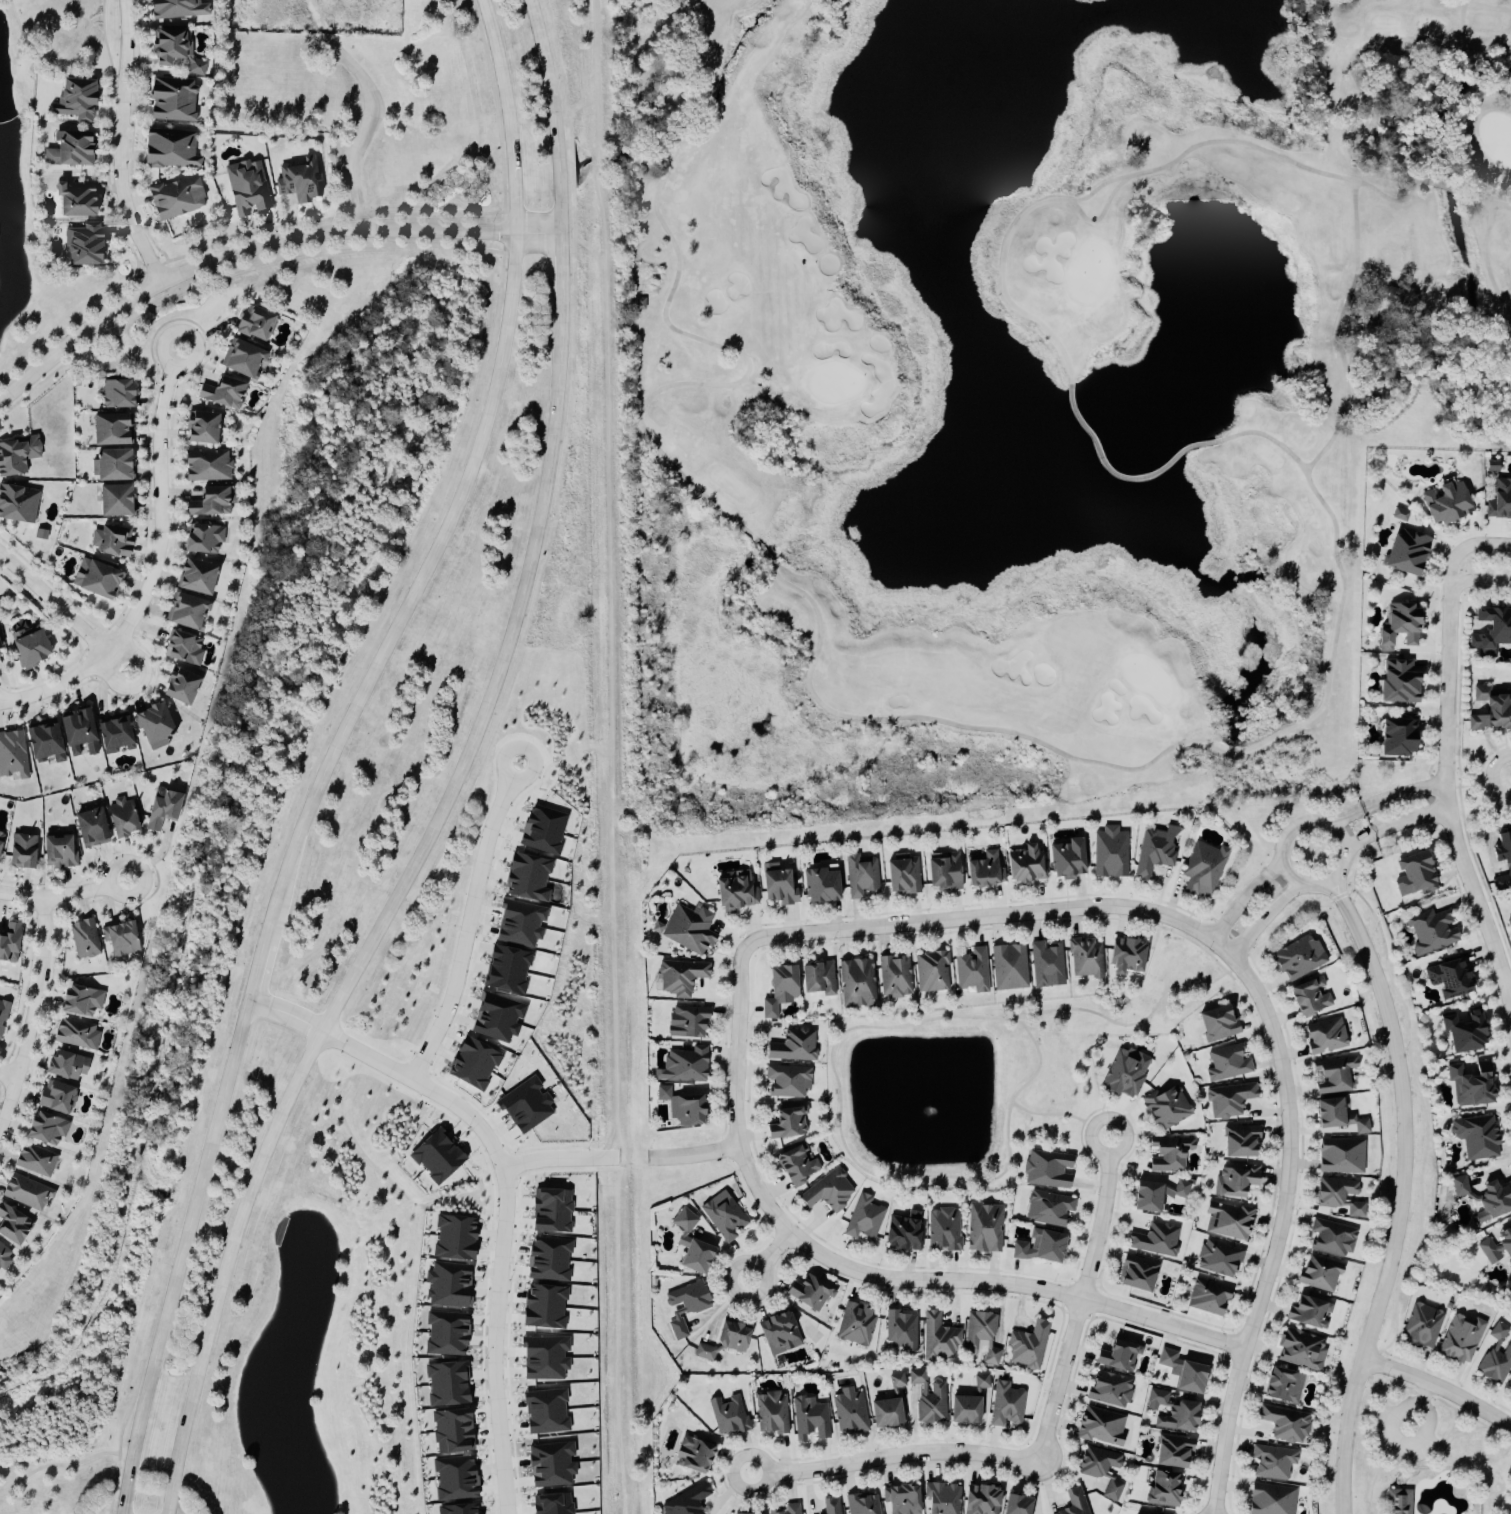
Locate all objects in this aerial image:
building: (181, 9)
building: (180, 52)
road: (46, 64)
building: (81, 99)
building: (176, 100)
road: (494, 103)
road: (372, 108)
road: (554, 116)
road: (122, 145)
building: (175, 148)
building: (74, 149)
building: (302, 181)
building: (249, 187)
building: (180, 197)
building: (83, 199)
road: (326, 219)
building: (89, 244)
road: (257, 247)
road: (561, 270)
building: (259, 323)
building: (246, 358)
park: (1031, 392)
building: (227, 393)
building: (123, 394)
building: (206, 428)
building: (117, 430)
building: (20, 455)
building: (119, 465)
building: (210, 466)
building: (1490, 466)
building: (98, 468)
building: (1499, 500)
building: (122, 501)
building: (215, 502)
building: (1443, 502)
building: (19, 504)
building: (1399, 515)
building: (43, 535)
building: (207, 539)
building: (115, 542)
road: (1462, 550)
building: (1404, 553)
road: (158, 569)
building: (203, 577)
building: (100, 579)
road: (1477, 581)
building: (190, 612)
road: (65, 613)
building: (1398, 627)
building: (1491, 629)
building: (0, 644)
building: (34, 646)
building: (186, 648)
building: (1396, 681)
building: (185, 685)
building: (1490, 710)
building: (158, 726)
building: (83, 732)
building: (1397, 735)
building: (49, 742)
road: (334, 751)
building: (14, 755)
road: (610, 757)
road: (1386, 800)
road: (1449, 803)
building: (168, 808)
building: (127, 818)
road: (1297, 824)
road: (1396, 825)
building: (97, 828)
building: (2, 846)
building: (1502, 847)
road: (281, 850)
building: (1155, 850)
building: (26, 852)
building: (62, 852)
building: (1109, 852)
building: (1065, 857)
building: (1023, 864)
building: (1202, 868)
building: (982, 869)
building: (941, 871)
building: (902, 874)
building: (860, 875)
building: (1413, 875)
building: (818, 883)
building: (777, 884)
road: (65, 897)
road: (1247, 900)
road: (387, 915)
road: (983, 918)
road: (1266, 919)
road: (468, 924)
building: (686, 928)
building: (1431, 930)
building: (86, 939)
building: (124, 939)
building: (12, 944)
building: (1124, 954)
building: (1085, 957)
building: (1297, 957)
building: (1045, 964)
building: (1008, 966)
building: (930, 970)
building: (894, 975)
building: (678, 976)
building: (1447, 976)
building: (816, 977)
building: (856, 982)
building: (777, 988)
road: (1510, 988)
building: (1308, 995)
building: (85, 1001)
building: (3, 1017)
road: (34, 1018)
building: (686, 1020)
building: (1216, 1022)
building: (1462, 1030)
building: (78, 1034)
building: (1324, 1036)
building: (793, 1045)
building: (1227, 1063)
building: (477, 1065)
building: (682, 1065)
building: (70, 1066)
road: (386, 1070)
building: (1124, 1072)
building: (1333, 1074)
road: (9, 1075)
building: (787, 1080)
building: (1469, 1082)
building: (59, 1098)
building: (1228, 1100)
building: (525, 1104)
building: (680, 1105)
building: (1166, 1107)
building: (1336, 1115)
building: (786, 1122)
building: (51, 1130)
building: (1475, 1136)
building: (1239, 1141)
road: (1092, 1144)
building: (1168, 1153)
road: (695, 1154)
building: (435, 1155)
building: (1340, 1155)
road: (558, 1159)
building: (38, 1161)
building: (795, 1164)
building: (1046, 1169)
building: (1235, 1180)
building: (828, 1190)
road: (1404, 1193)
building: (1155, 1194)
building: (1337, 1195)
building: (1048, 1208)
building: (549, 1209)
building: (722, 1215)
building: (864, 1217)
building: (1228, 1220)
road: (1285, 1220)
building: (16, 1225)
building: (984, 1227)
building: (944, 1229)
building: (903, 1232)
building: (452, 1237)
building: (1331, 1237)
building: (1155, 1239)
building: (1505, 1242)
building: (690, 1244)
building: (1039, 1246)
building: (1488, 1250)
building: (5, 1257)
building: (1218, 1258)
building: (547, 1259)
road: (771, 1259)
building: (1317, 1272)
building: (1136, 1273)
road: (865, 1276)
building: (807, 1292)
building: (1208, 1296)
building: (542, 1305)
building: (683, 1306)
road: (1080, 1310)
building: (1308, 1311)
building: (856, 1324)
building: (1421, 1325)
building: (901, 1330)
building: (777, 1332)
building: (445, 1333)
building: (982, 1335)
building: (939, 1338)
building: (1459, 1338)
road: (494, 1340)
building: (723, 1340)
building: (1027, 1345)
building: (1299, 1349)
building: (1116, 1355)
building: (543, 1357)
building: (1494, 1358)
building: (1181, 1371)
building: (897, 1380)
building: (446, 1383)
building: (1510, 1384)
building: (1281, 1385)
road: (1439, 1386)
building: (1108, 1388)
building: (928, 1397)
building: (967, 1402)
building: (1006, 1404)
building: (547, 1410)
building: (849, 1411)
building: (1172, 1411)
building: (771, 1412)
building: (883, 1412)
building: (729, 1414)
building: (810, 1418)
building: (1283, 1423)
building: (1100, 1426)
building: (450, 1430)
building: (1171, 1451)
building: (691, 1454)
park: (1425, 1456)
road: (896, 1458)
road: (1426, 1459)
building: (1096, 1461)
building: (1271, 1461)
road: (58, 1464)
building: (549, 1464)
road: (1386, 1467)
building: (454, 1478)
road: (1371, 1487)
building: (1162, 1488)
building: (1112, 1490)
building: (941, 1498)
building: (901, 1499)
building: (979, 1499)
building: (1269, 1499)
building: (685, 1501)
building: (1397, 1501)
building: (1074, 1502)
building: (550, 1503)
building: (862, 1503)
building: (1014, 1504)
building: (831, 1505)
road: (1374, 1507)
building: (456, 1508)
building: (789, 1509)
road: (1368, 1511)
road: (1381, 1511)
road: (1374, 1512)
building: (735, 1513)
building: (1149, 1513)

